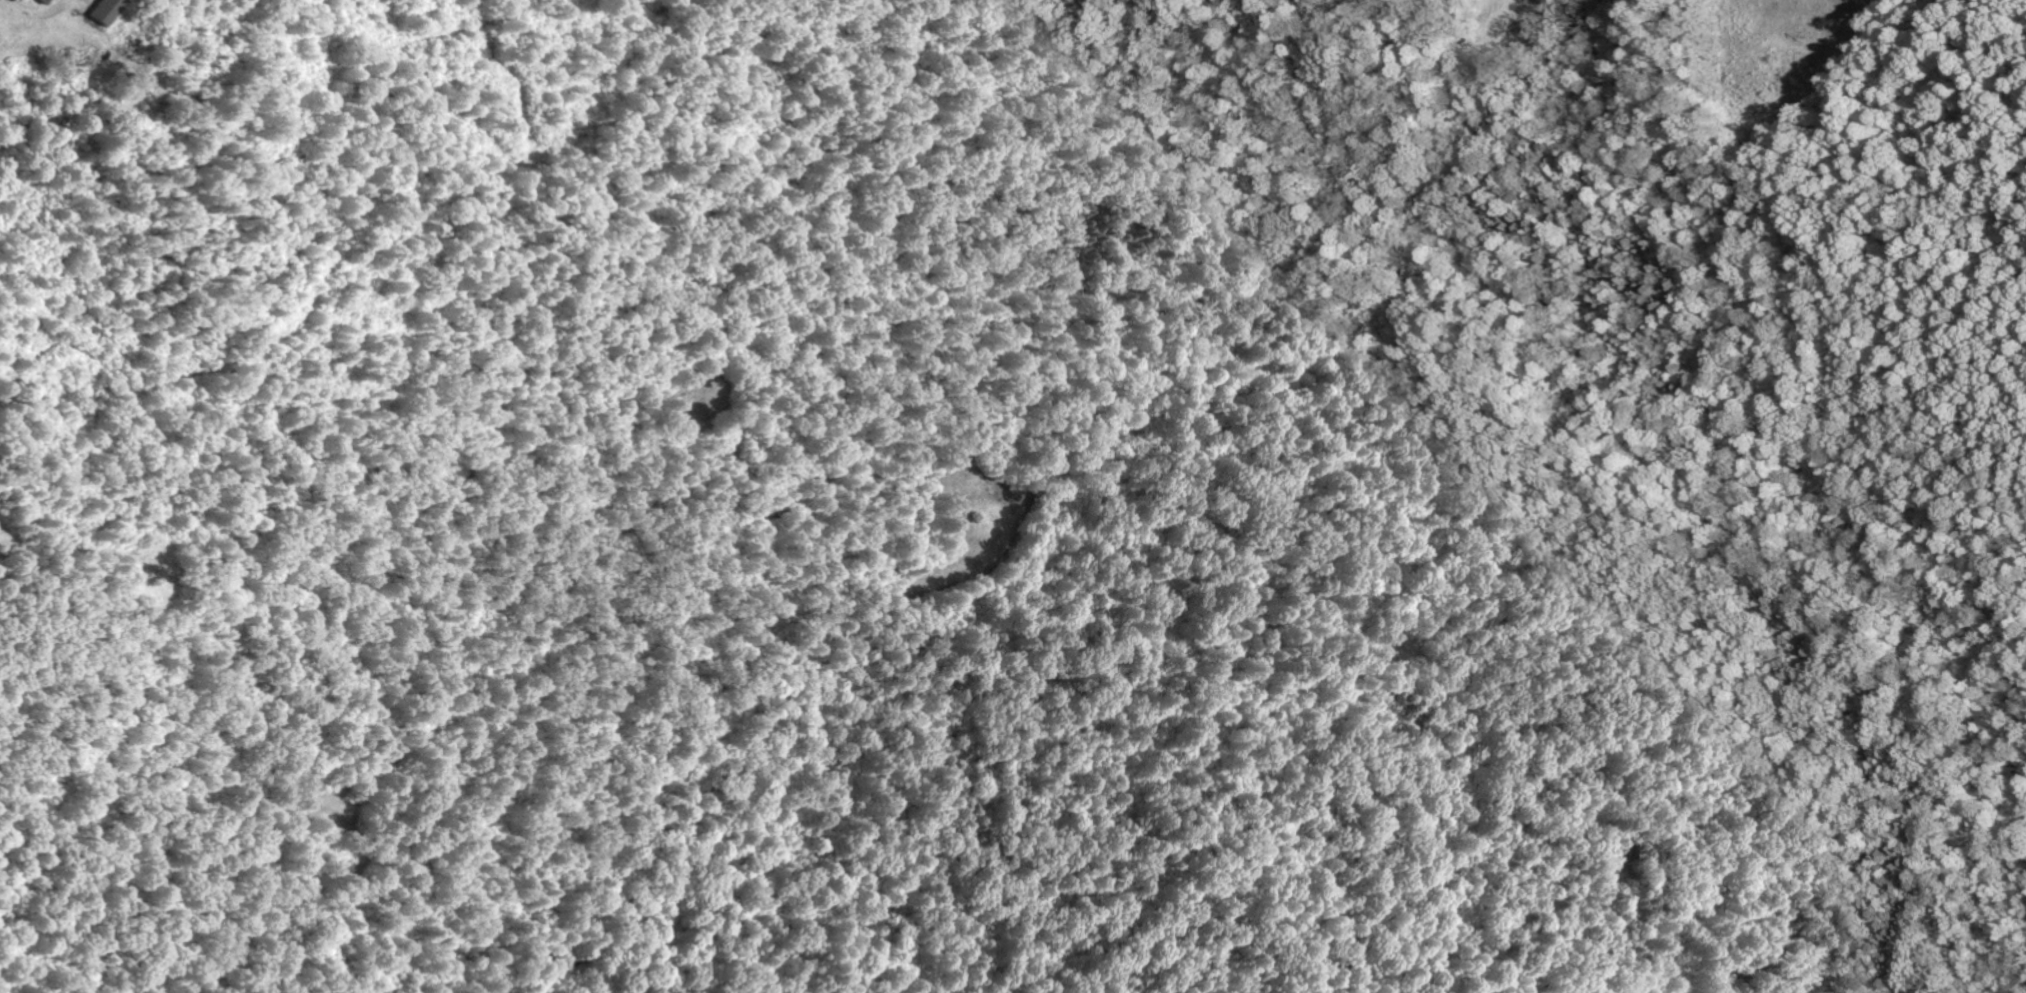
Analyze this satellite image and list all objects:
building: (48, 1)

